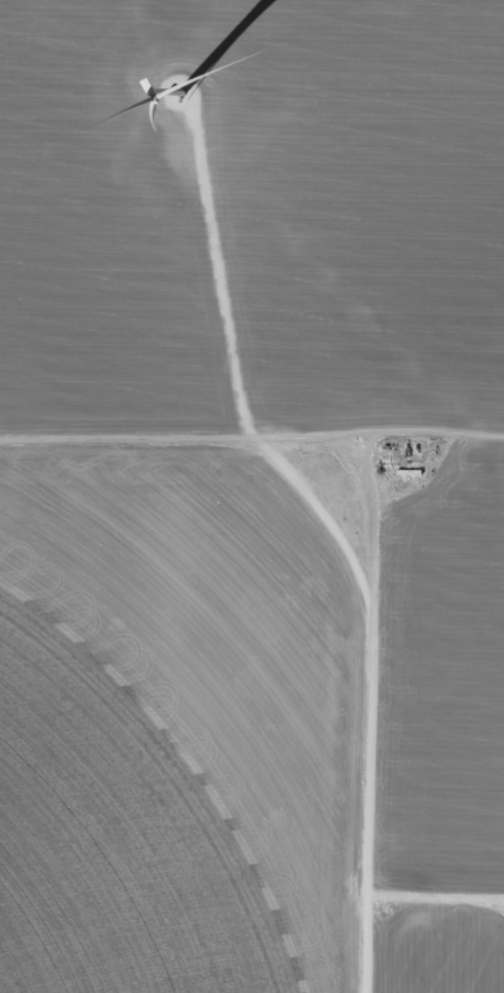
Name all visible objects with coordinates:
wind turbine: (191, 84)
road: (351, 545)

